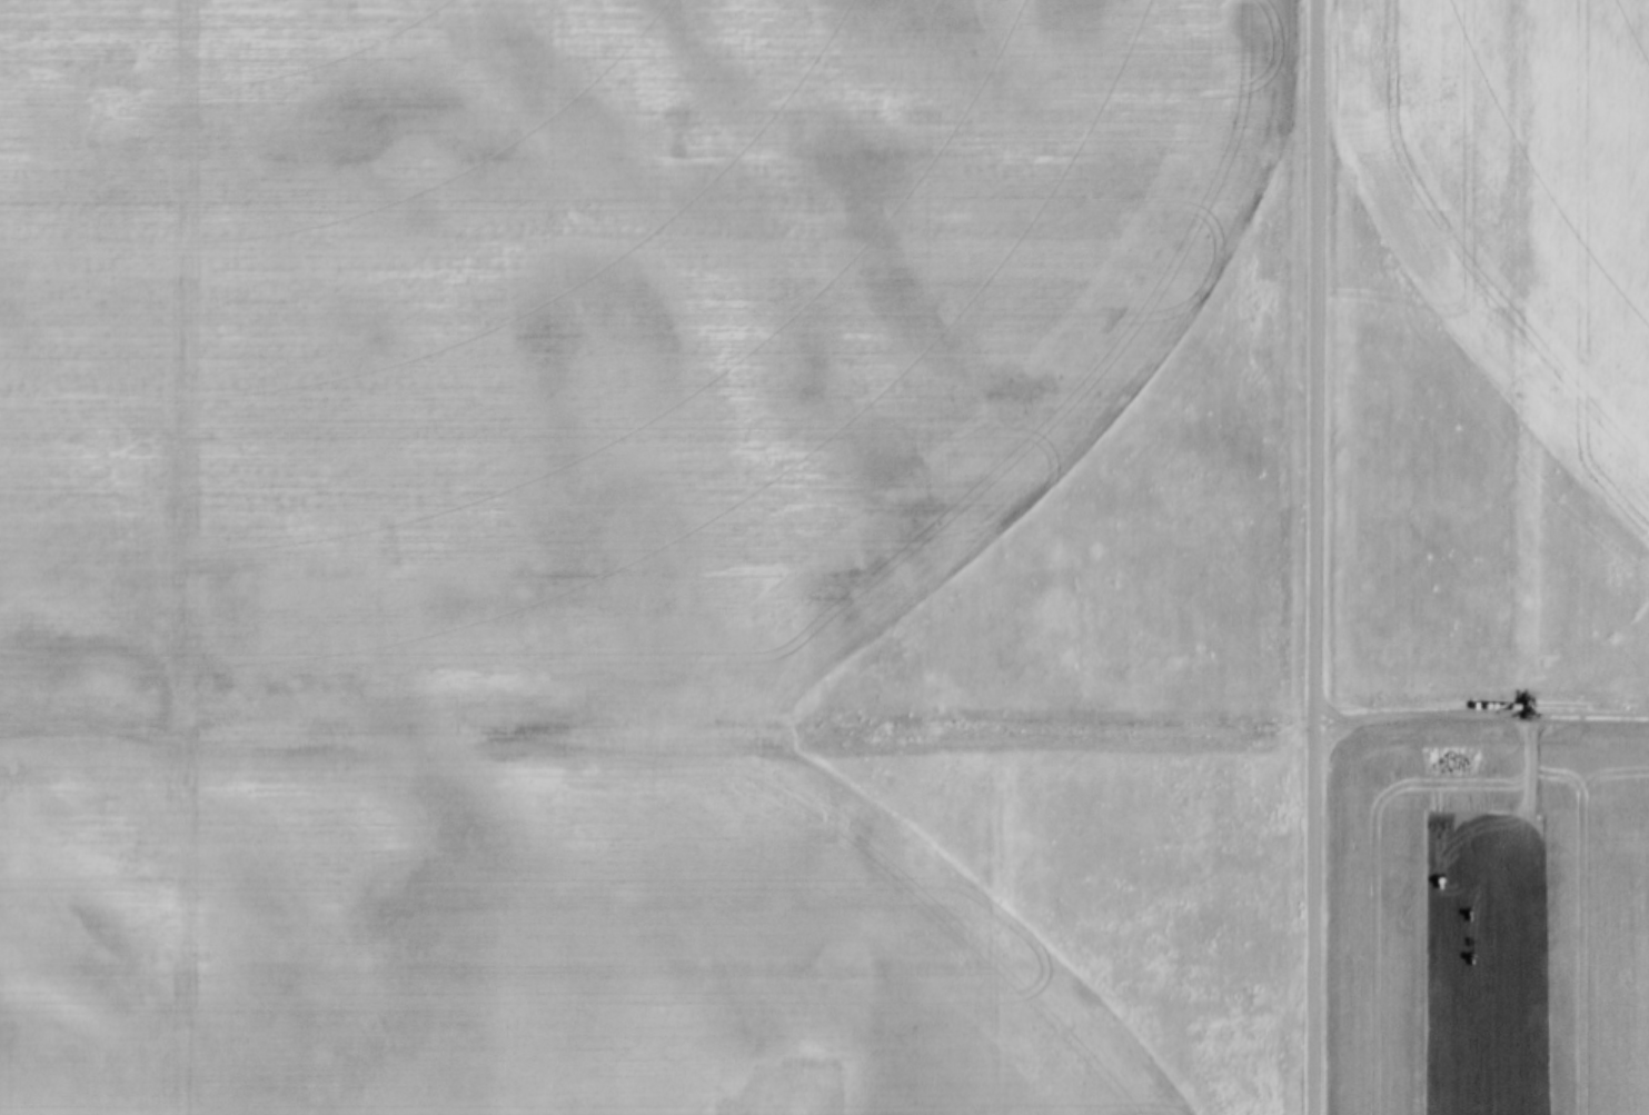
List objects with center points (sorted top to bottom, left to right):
road: (1312, 557)

